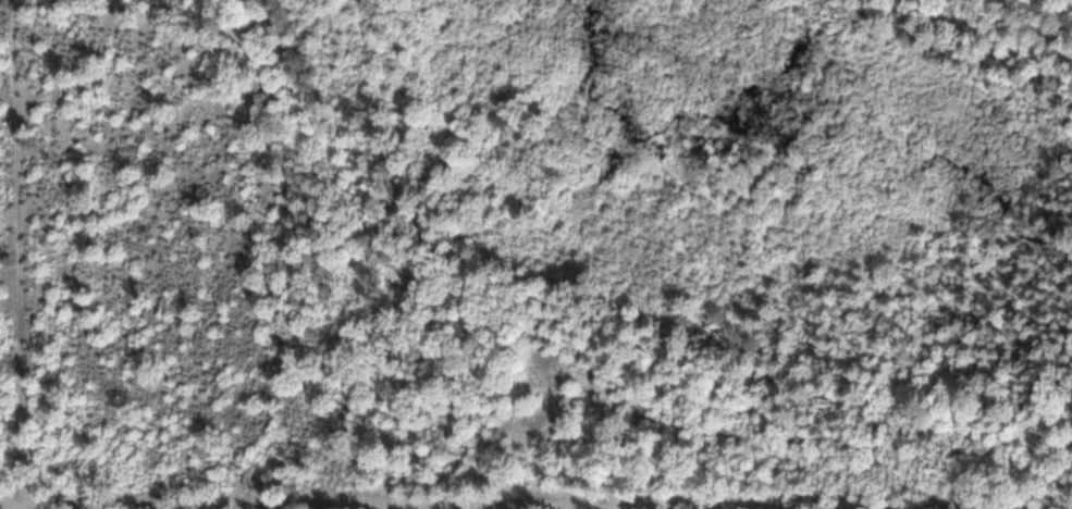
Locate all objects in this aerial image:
road: (1043, 18)
road: (19, 253)
road: (423, 287)
road: (82, 508)

